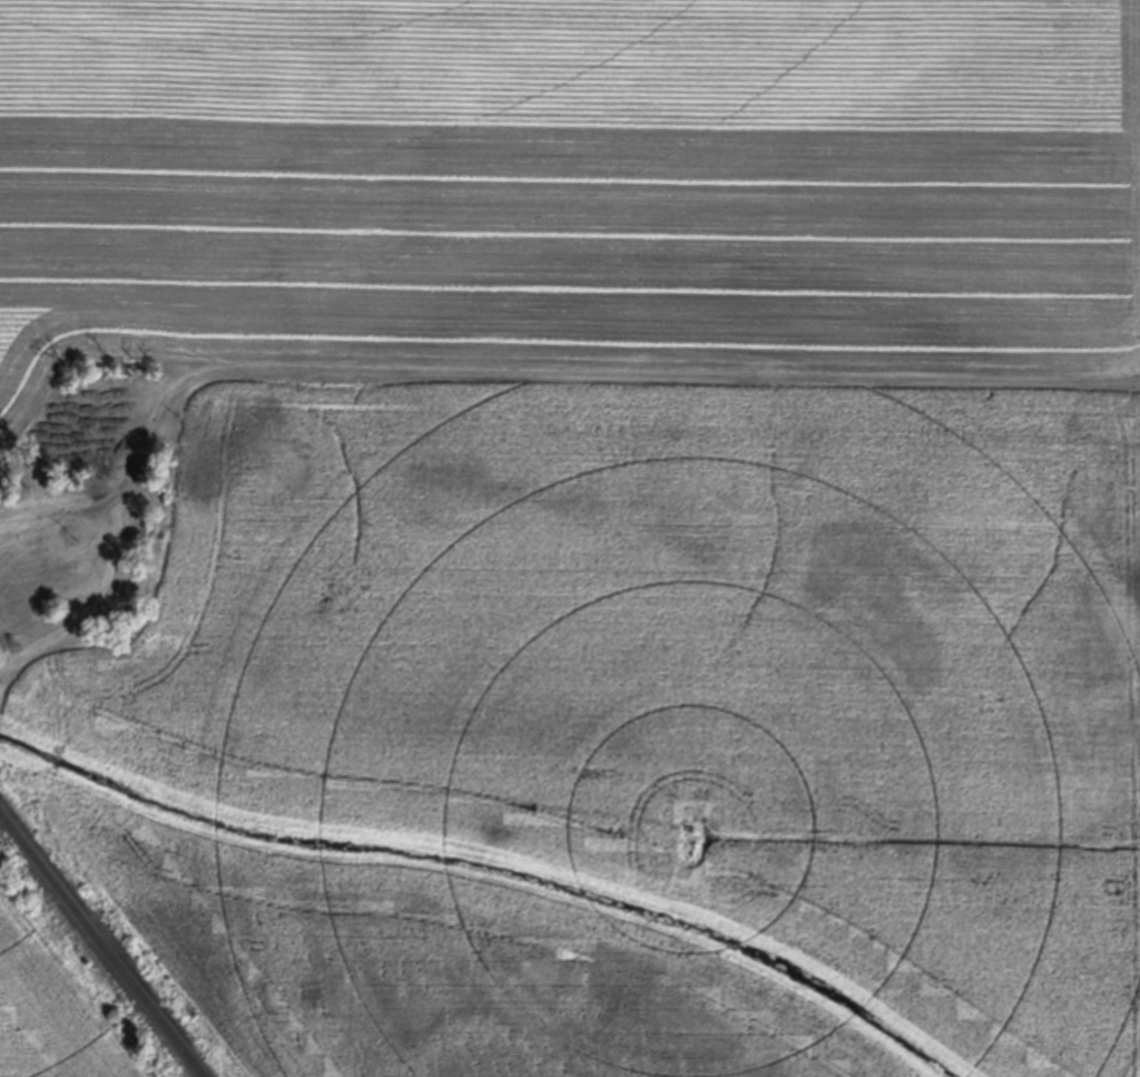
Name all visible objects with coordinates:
road: (532, 372)
road: (89, 607)
railway: (104, 942)

